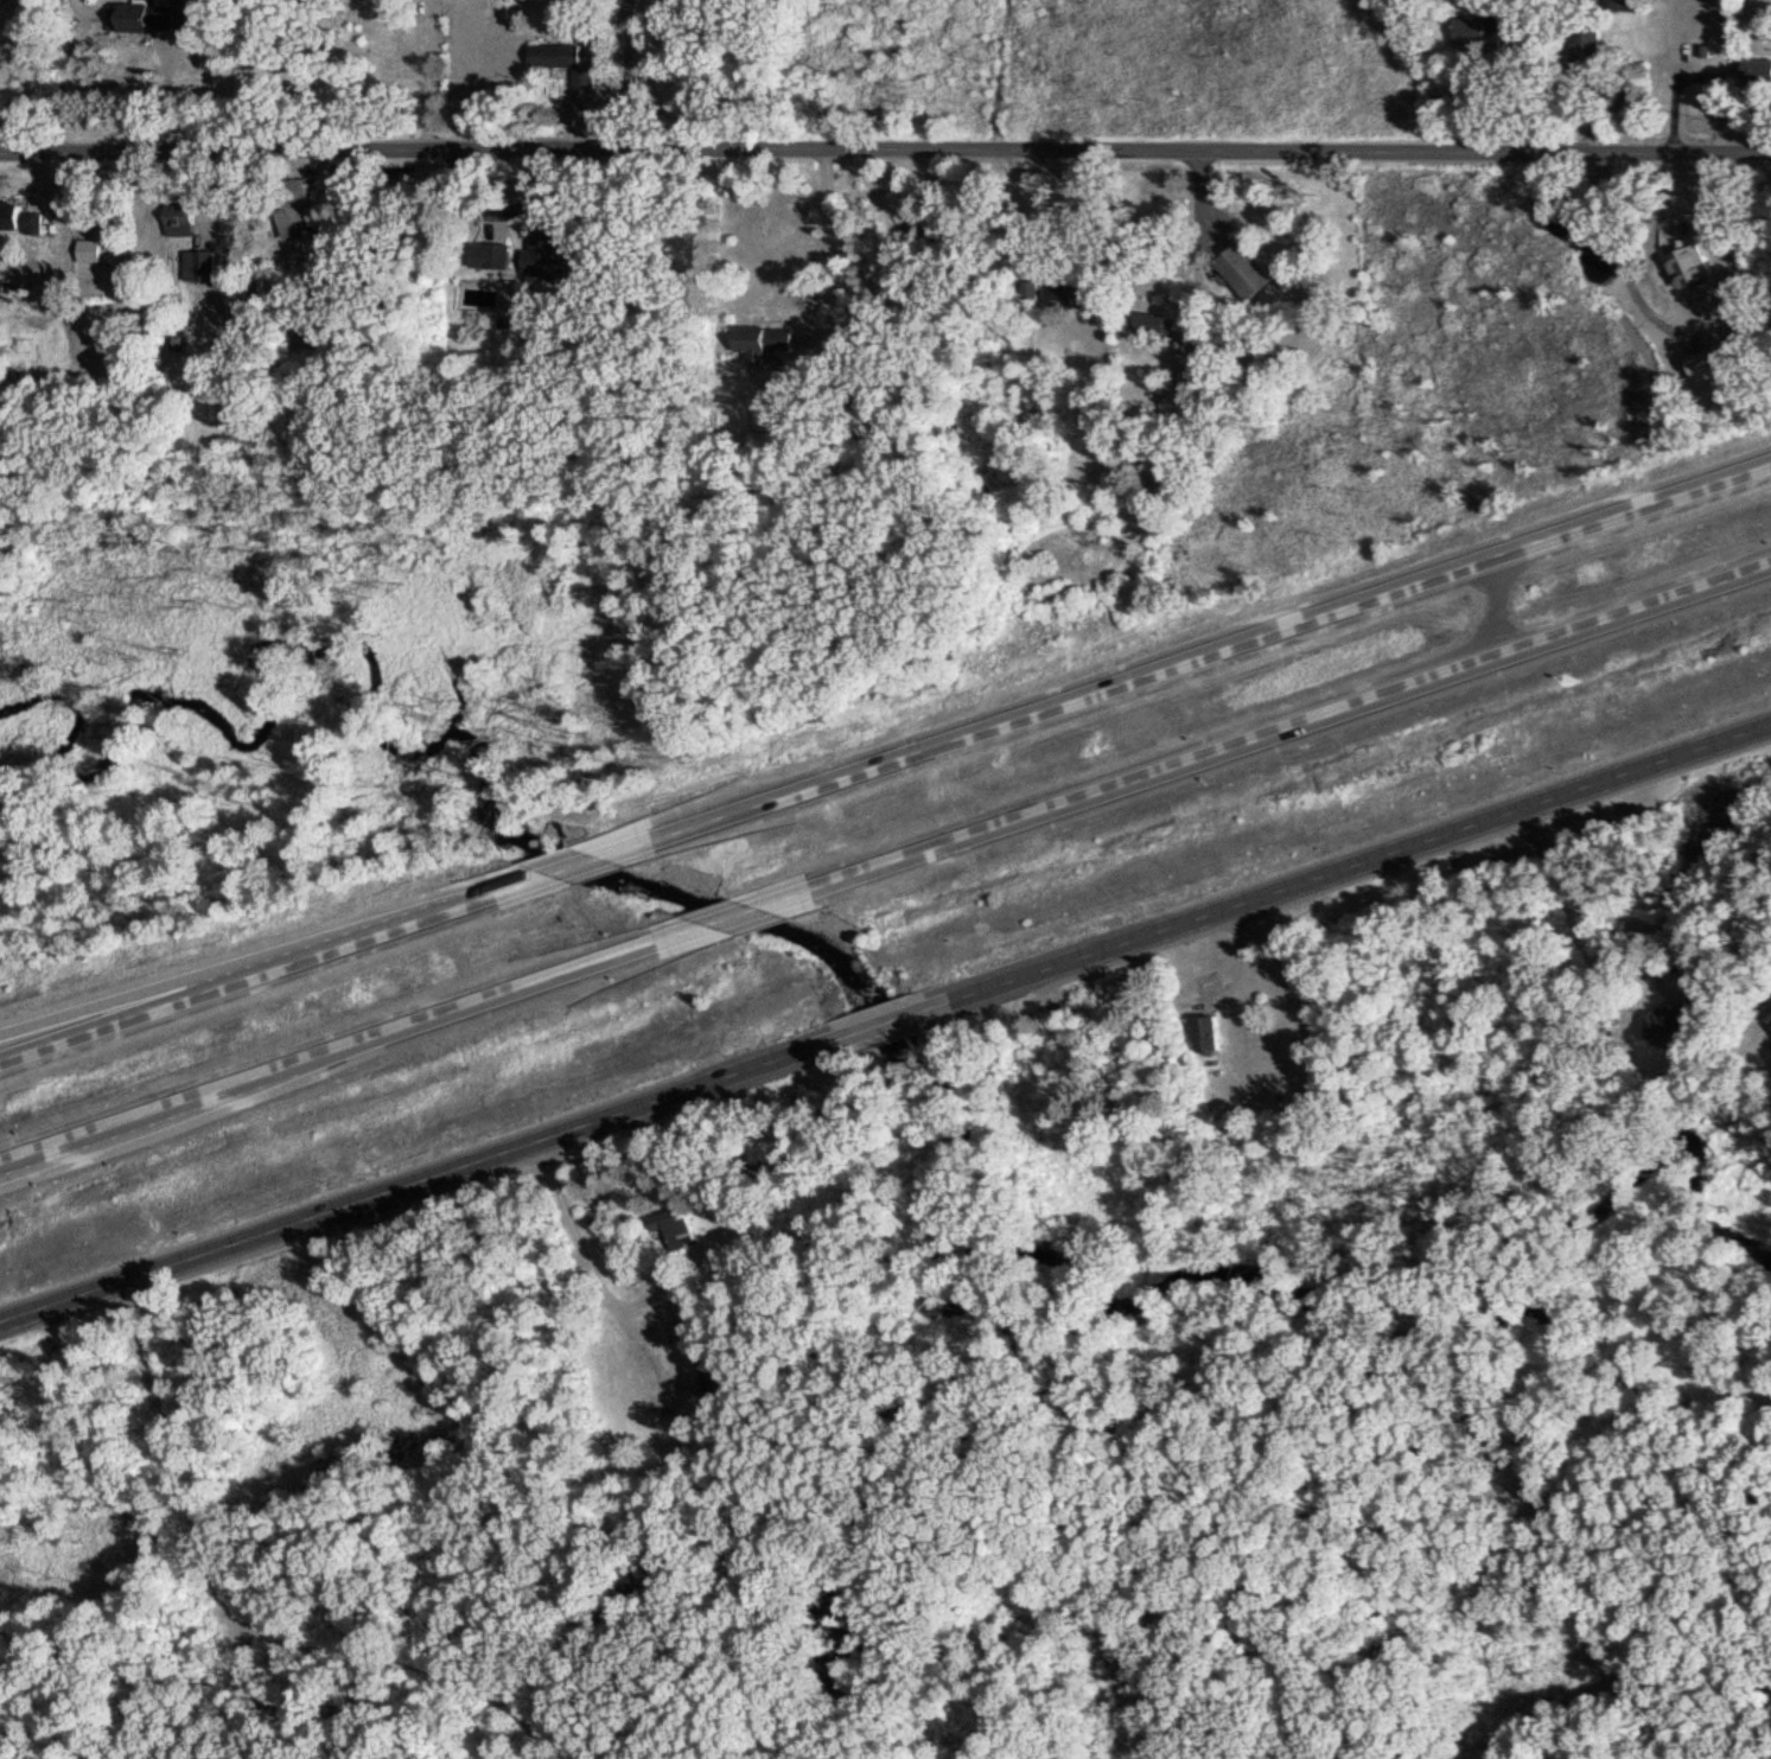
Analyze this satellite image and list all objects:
building: (1469, 31)
building: (1585, 45)
building: (561, 60)
building: (1757, 74)
road: (623, 76)
road: (425, 77)
road: (164, 95)
road: (885, 151)
building: (293, 210)
building: (18, 215)
building: (177, 218)
road: (832, 247)
building: (88, 249)
building: (490, 254)
building: (543, 254)
building: (198, 265)
building: (1683, 266)
building: (1243, 269)
building: (1028, 288)
building: (1066, 292)
building: (765, 345)
building: (216, 408)
road: (1495, 601)
road: (1179, 655)
road: (1261, 732)
road: (571, 861)
road: (1330, 868)
road: (1586, 884)
road: (735, 911)
road: (276, 961)
building: (1767, 1011)
road: (878, 1021)
road: (58, 1028)
building: (1669, 1028)
building: (1205, 1032)
road: (359, 1038)
road: (433, 1171)
building: (671, 1226)
road: (581, 1250)

